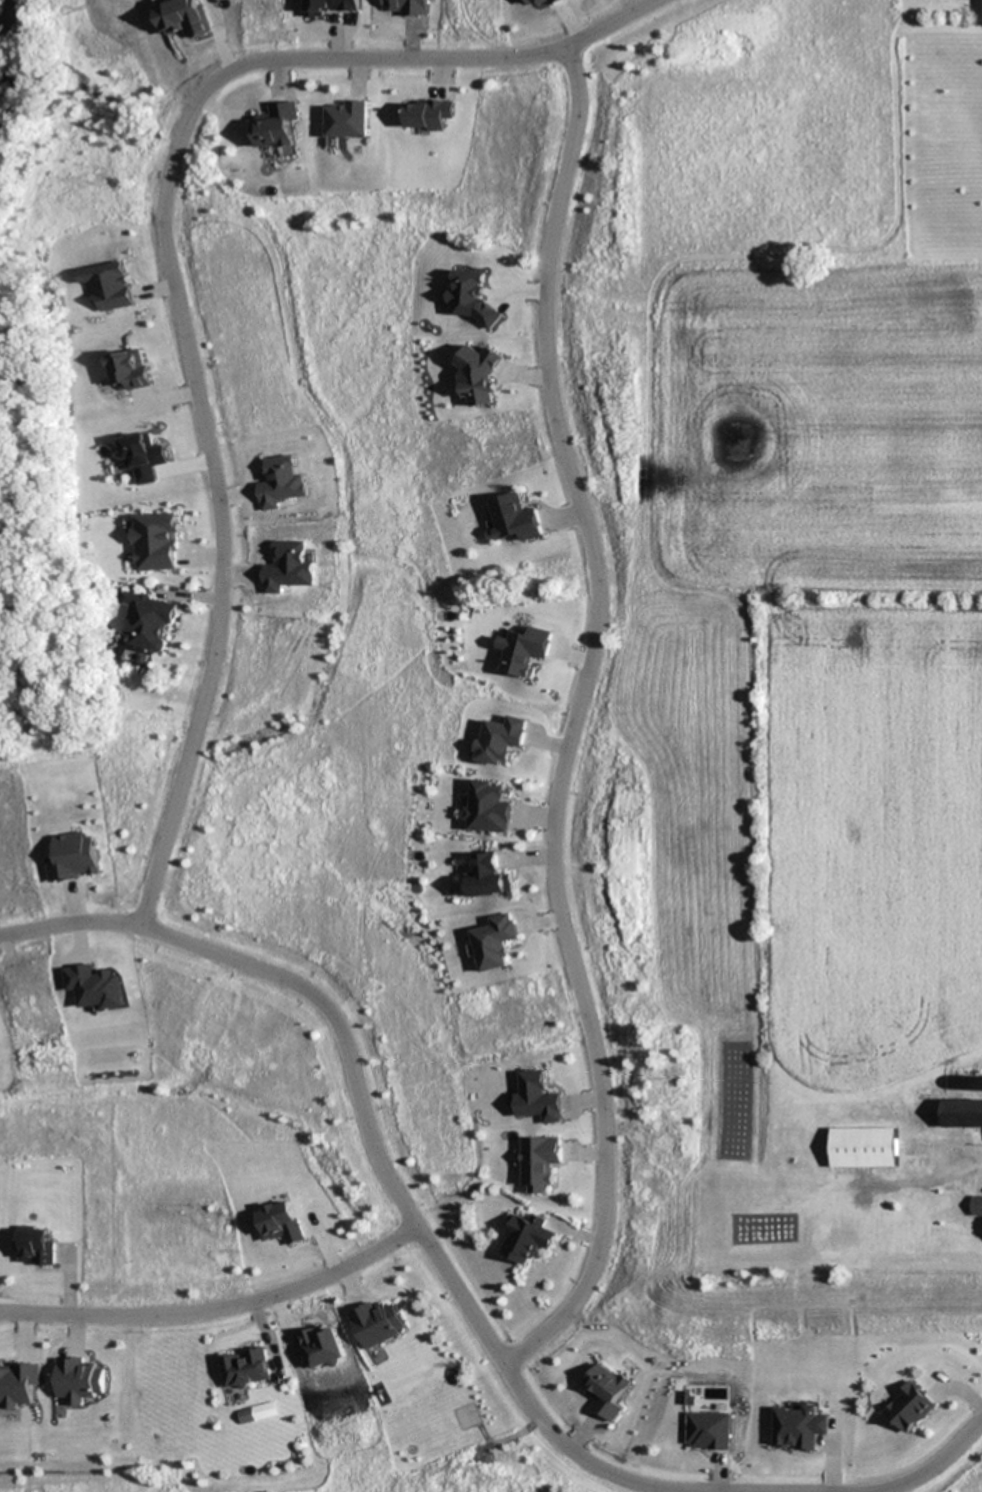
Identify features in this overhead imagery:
river: (4, 40)
building: (348, 120)
building: (277, 126)
road: (168, 279)
building: (144, 457)
building: (516, 518)
building: (156, 542)
building: (149, 620)
road: (569, 720)
building: (499, 740)
building: (487, 807)
building: (75, 858)
building: (488, 877)
building: (496, 942)
building: (539, 1097)
building: (962, 1113)
road: (369, 1140)
building: (863, 1147)
building: (540, 1162)
building: (976, 1205)
building: (526, 1238)
building: (35, 1246)
road: (216, 1311)
building: (377, 1324)
building: (245, 1368)
building: (78, 1380)
building: (17, 1383)
building: (606, 1390)
building: (708, 1431)
road: (940, 1460)

